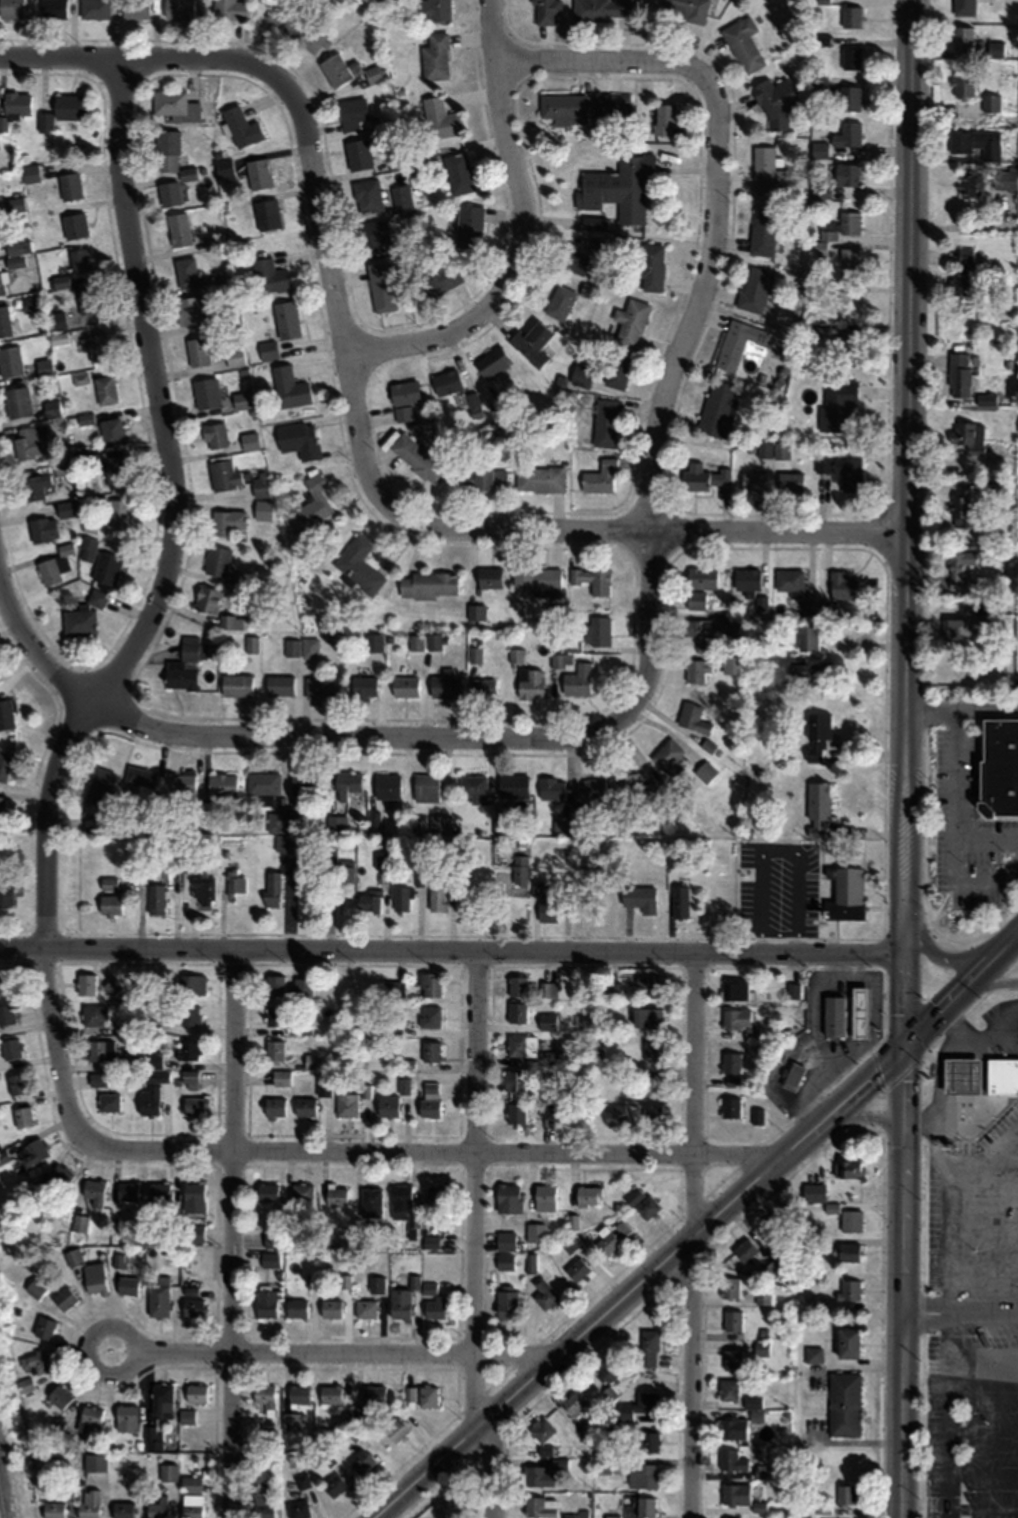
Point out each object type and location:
building: (963, 7)
building: (11, 8)
building: (93, 8)
building: (52, 9)
building: (135, 9)
building: (177, 9)
building: (230, 9)
building: (433, 10)
building: (601, 10)
building: (544, 11)
building: (684, 11)
building: (850, 16)
building: (293, 24)
building: (962, 38)
building: (743, 43)
building: (435, 57)
building: (851, 58)
road: (133, 66)
road: (616, 68)
building: (347, 70)
building: (963, 83)
building: (849, 98)
building: (775, 101)
building: (991, 103)
building: (14, 106)
building: (175, 106)
building: (611, 107)
building: (562, 108)
building: (61, 110)
building: (353, 113)
building: (439, 118)
building: (664, 119)
building: (241, 127)
building: (847, 134)
building: (976, 143)
building: (358, 153)
building: (170, 154)
building: (224, 167)
building: (766, 170)
building: (30, 173)
building: (258, 173)
building: (458, 173)
building: (846, 174)
building: (1004, 179)
building: (967, 182)
building: (69, 185)
building: (618, 187)
building: (169, 193)
building: (366, 195)
building: (401, 197)
building: (16, 204)
building: (267, 213)
building: (74, 225)
building: (840, 225)
building: (469, 226)
building: (179, 228)
road: (519, 231)
building: (762, 231)
building: (374, 235)
building: (216, 240)
building: (594, 245)
building: (17, 252)
building: (80, 260)
building: (575, 261)
building: (849, 262)
building: (651, 266)
building: (186, 272)
building: (962, 273)
building: (269, 276)
building: (439, 278)
building: (60, 281)
road: (333, 283)
building: (2, 285)
building: (381, 286)
building: (755, 289)
building: (88, 301)
building: (560, 301)
building: (30, 303)
building: (848, 303)
building: (193, 308)
building: (286, 319)
building: (56, 321)
building: (630, 321)
building: (5, 322)
building: (532, 343)
building: (849, 344)
building: (741, 346)
building: (97, 348)
building: (267, 350)
building: (198, 351)
building: (234, 357)
building: (10, 362)
building: (492, 362)
building: (617, 369)
building: (959, 374)
building: (581, 375)
building: (80, 379)
building: (447, 383)
building: (289, 388)
building: (105, 389)
building: (404, 392)
building: (218, 396)
building: (18, 402)
building: (837, 404)
building: (52, 408)
building: (717, 408)
building: (403, 414)
building: (606, 422)
road: (658, 423)
building: (112, 431)
building: (215, 436)
building: (969, 436)
building: (299, 440)
building: (250, 441)
building: (28, 442)
building: (781, 450)
road: (907, 457)
building: (418, 458)
building: (62, 467)
building: (115, 470)
building: (842, 470)
building: (223, 475)
building: (600, 477)
building: (702, 477)
building: (483, 478)
building: (539, 478)
building: (754, 482)
building: (262, 483)
building: (790, 483)
building: (34, 486)
building: (996, 489)
building: (311, 505)
building: (66, 509)
building: (960, 509)
building: (262, 510)
building: (119, 512)
building: (227, 521)
road: (636, 526)
building: (42, 529)
building: (65, 549)
building: (88, 549)
building: (217, 560)
building: (358, 565)
building: (106, 569)
building: (959, 569)
building: (48, 572)
building: (489, 577)
building: (536, 578)
building: (701, 578)
building: (747, 579)
building: (591, 581)
building: (790, 581)
building: (242, 582)
building: (429, 585)
building: (843, 586)
building: (207, 600)
building: (696, 600)
building: (818, 610)
building: (475, 612)
road: (152, 613)
building: (982, 613)
building: (83, 616)
building: (230, 623)
building: (731, 625)
building: (597, 631)
building: (699, 632)
building: (958, 632)
building: (809, 636)
building: (424, 642)
building: (374, 643)
building: (291, 648)
building: (309, 648)
road: (39, 652)
building: (185, 665)
building: (697, 670)
building: (808, 673)
building: (578, 680)
building: (236, 685)
building: (279, 685)
building: (530, 685)
building: (362, 686)
building: (445, 686)
building: (404, 687)
building: (320, 688)
building: (483, 689)
road: (962, 709)
building: (6, 715)
building: (693, 718)
building: (817, 736)
road: (344, 740)
building: (668, 758)
building: (4, 765)
building: (998, 768)
building: (140, 776)
building: (263, 782)
building: (302, 782)
building: (182, 784)
building: (222, 784)
building: (347, 784)
building: (513, 785)
building: (387, 786)
building: (100, 787)
building: (594, 787)
building: (425, 788)
building: (473, 788)
building: (551, 788)
building: (636, 789)
road: (958, 803)
building: (818, 810)
building: (1, 811)
building: (274, 821)
building: (335, 824)
building: (439, 825)
building: (562, 825)
building: (500, 826)
building: (286, 848)
building: (380, 860)
building: (451, 869)
building: (519, 870)
building: (346, 872)
building: (590, 874)
building: (418, 878)
building: (108, 882)
building: (236, 885)
building: (6, 886)
building: (203, 887)
building: (272, 889)
building: (848, 893)
building: (436, 898)
building: (155, 899)
building: (401, 899)
building: (638, 899)
building: (368, 902)
building: (679, 902)
building: (110, 904)
building: (544, 904)
road: (450, 949)
road: (991, 957)
road: (952, 958)
road: (902, 979)
building: (4, 983)
building: (429, 983)
road: (991, 983)
building: (85, 984)
building: (192, 984)
building: (274, 985)
building: (516, 985)
building: (652, 985)
building: (302, 986)
building: (112, 987)
building: (167, 987)
building: (547, 988)
building: (393, 989)
building: (735, 989)
building: (792, 990)
building: (516, 1011)
building: (859, 1011)
building: (6, 1013)
building: (189, 1014)
building: (274, 1014)
building: (833, 1014)
building: (94, 1015)
road: (933, 1015)
building: (429, 1016)
building: (647, 1017)
building: (547, 1021)
building: (738, 1021)
building: (391, 1025)
building: (304, 1028)
road: (992, 1032)
building: (630, 1037)
building: (10, 1047)
building: (523, 1047)
building: (187, 1049)
building: (274, 1049)
building: (100, 1050)
building: (431, 1050)
building: (652, 1050)
building: (153, 1060)
building: (312, 1061)
building: (731, 1069)
building: (960, 1074)
building: (1002, 1074)
building: (792, 1075)
building: (281, 1077)
building: (97, 1079)
building: (189, 1079)
building: (15, 1083)
building: (403, 1084)
building: (515, 1084)
building: (652, 1084)
road: (858, 1085)
building: (323, 1086)
road: (902, 1090)
building: (429, 1098)
building: (148, 1100)
building: (108, 1101)
building: (346, 1103)
building: (387, 1105)
building: (305, 1106)
building: (730, 1106)
building: (195, 1107)
building: (274, 1107)
building: (548, 1107)
building: (515, 1112)
building: (652, 1112)
building: (614, 1114)
building: (756, 1114)
building: (22, 1116)
road: (861, 1116)
road: (920, 1119)
road: (424, 1150)
road: (1007, 1151)
building: (32, 1152)
road: (988, 1156)
building: (846, 1168)
building: (58, 1178)
road: (954, 1185)
road: (472, 1186)
building: (94, 1190)
building: (126, 1190)
building: (158, 1191)
building: (267, 1191)
building: (302, 1191)
building: (813, 1191)
road: (986, 1192)
building: (437, 1193)
building: (588, 1194)
building: (336, 1196)
building: (545, 1196)
building: (508, 1197)
building: (193, 1198)
building: (371, 1201)
building: (641, 1202)
building: (831, 1207)
building: (404, 1208)
building: (851, 1219)
building: (572, 1220)
building: (79, 1222)
road: (901, 1224)
building: (622, 1227)
road: (985, 1230)
building: (536, 1231)
building: (192, 1232)
road: (231, 1232)
road: (693, 1233)
building: (272, 1238)
building: (505, 1239)
building: (606, 1241)
building: (569, 1243)
building: (777, 1248)
building: (745, 1250)
building: (848, 1250)
building: (73, 1256)
building: (270, 1258)
building: (504, 1260)
building: (577, 1268)
road: (985, 1269)
building: (94, 1277)
building: (127, 1284)
building: (35, 1286)
building: (729, 1286)
building: (849, 1289)
building: (544, 1293)
building: (158, 1294)
building: (762, 1296)
building: (64, 1297)
building: (265, 1301)
building: (434, 1302)
building: (400, 1303)
building: (507, 1303)
building: (193, 1305)
building: (296, 1307)
building: (331, 1308)
building: (366, 1308)
road: (959, 1312)
building: (732, 1320)
road: (593, 1321)
parking lot: (973, 1322)
road: (116, 1325)
building: (44, 1327)
power tower: (11, 1337)
building: (847, 1342)
building: (648, 1348)
building: (761, 1348)
road: (346, 1350)
building: (813, 1354)
building: (732, 1359)
building: (37, 1361)
building: (607, 1368)
building: (25, 1385)
building: (728, 1389)
building: (195, 1393)
building: (375, 1393)
building: (330, 1394)
building: (428, 1395)
building: (59, 1396)
building: (410, 1396)
building: (265, 1397)
building: (162, 1401)
building: (574, 1402)
building: (752, 1402)
building: (844, 1403)
building: (294, 1404)
building: (638, 1406)
road: (950, 1411)
building: (358, 1414)
building: (756, 1415)
road: (899, 1415)
building: (186, 1416)
building: (126, 1417)
building: (90, 1419)
building: (56, 1427)
building: (732, 1428)
building: (396, 1429)
building: (542, 1429)
building: (589, 1429)
building: (615, 1433)
building: (268, 1435)
building: (152, 1437)
building: (66, 1440)
building: (649, 1441)
power tower: (36, 1460)
building: (732, 1460)
building: (360, 1461)
building: (559, 1463)
road: (492, 1464)
building: (603, 1466)
building: (167, 1471)
building: (102, 1473)
building: (642, 1475)
building: (538, 1476)
building: (302, 1480)
building: (334, 1485)
building: (65, 1491)
building: (735, 1493)
building: (845, 1494)
building: (191, 1496)
building: (264, 1500)
building: (88, 1503)
building: (637, 1505)
building: (540, 1506)
building: (158, 1508)
building: (52, 1509)
building: (122, 1509)
building: (298, 1509)
railway: (1, 1510)
building: (575, 1514)
building: (438, 1517)

